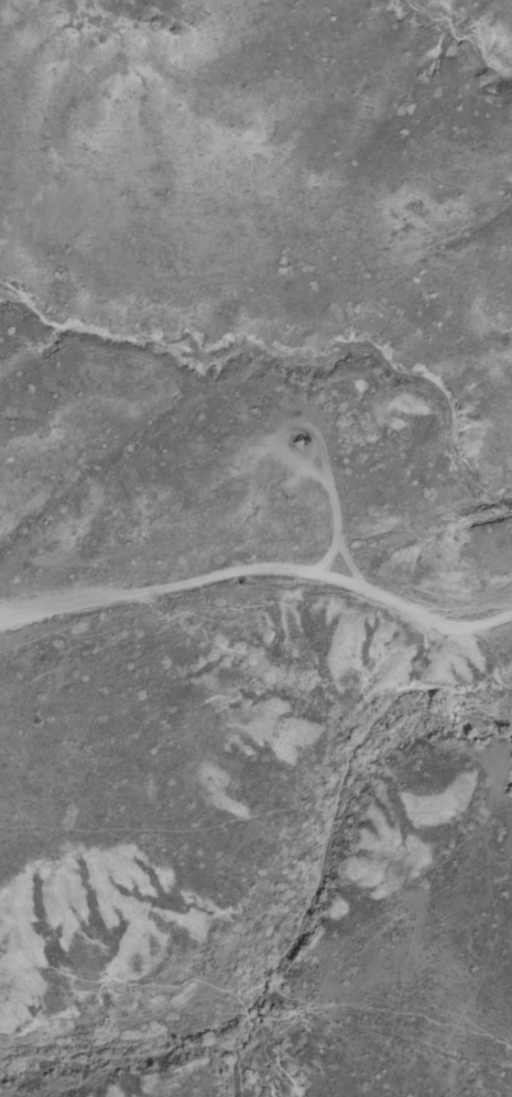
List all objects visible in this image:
road: (259, 613)

